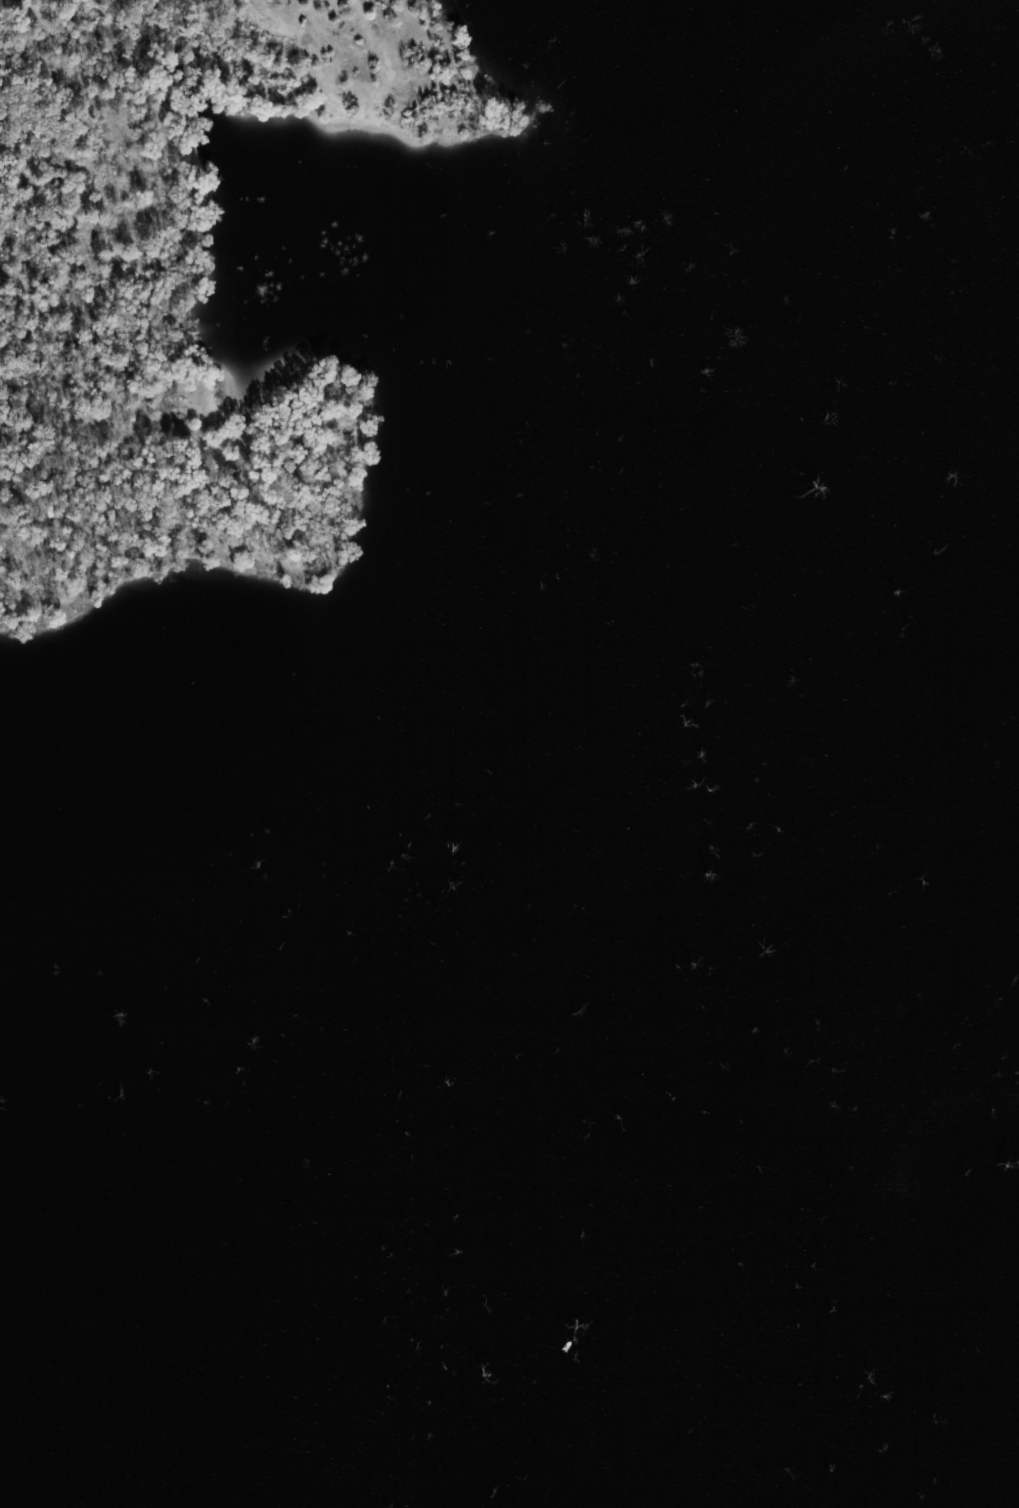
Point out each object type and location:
building: (680, 1298)

